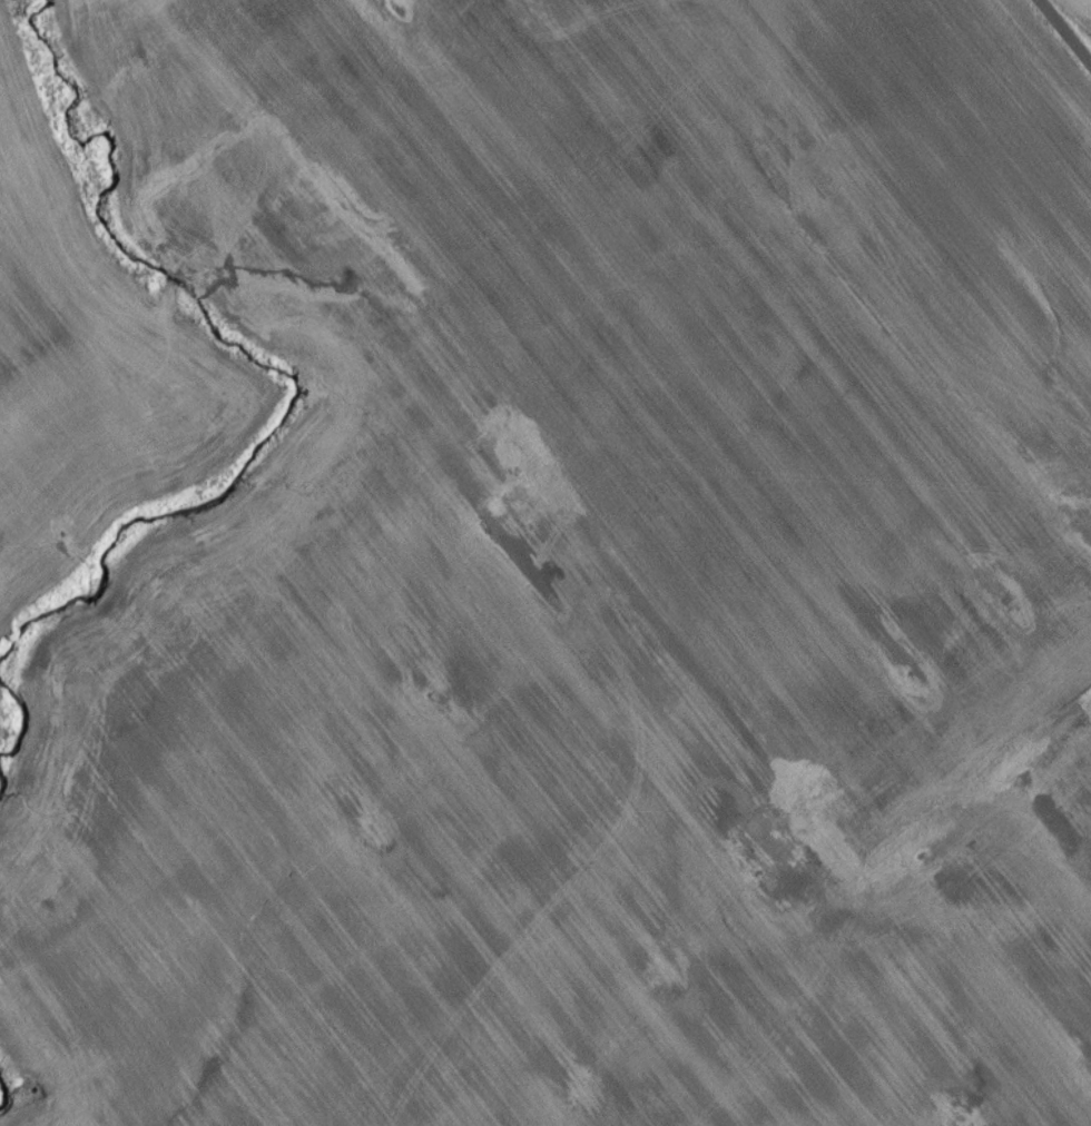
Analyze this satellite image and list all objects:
road: (1062, 34)

